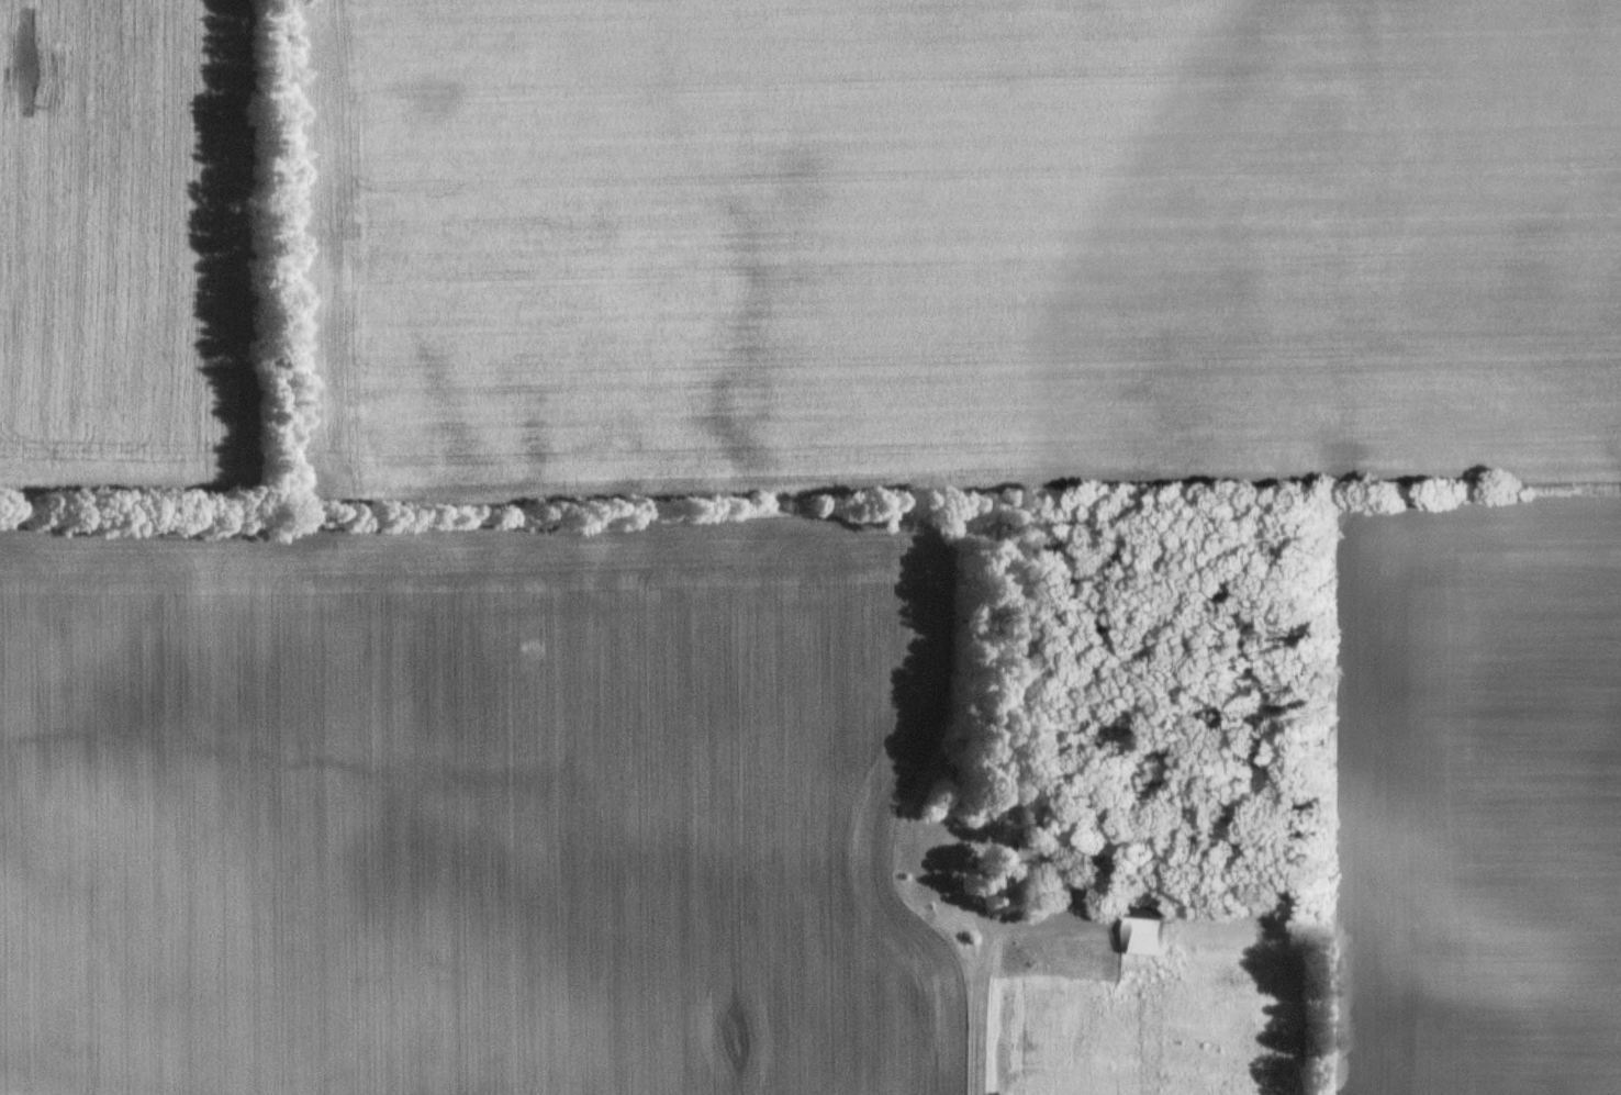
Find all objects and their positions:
building: (1021, 854)
road: (1046, 916)
building: (1142, 927)
road: (987, 952)

